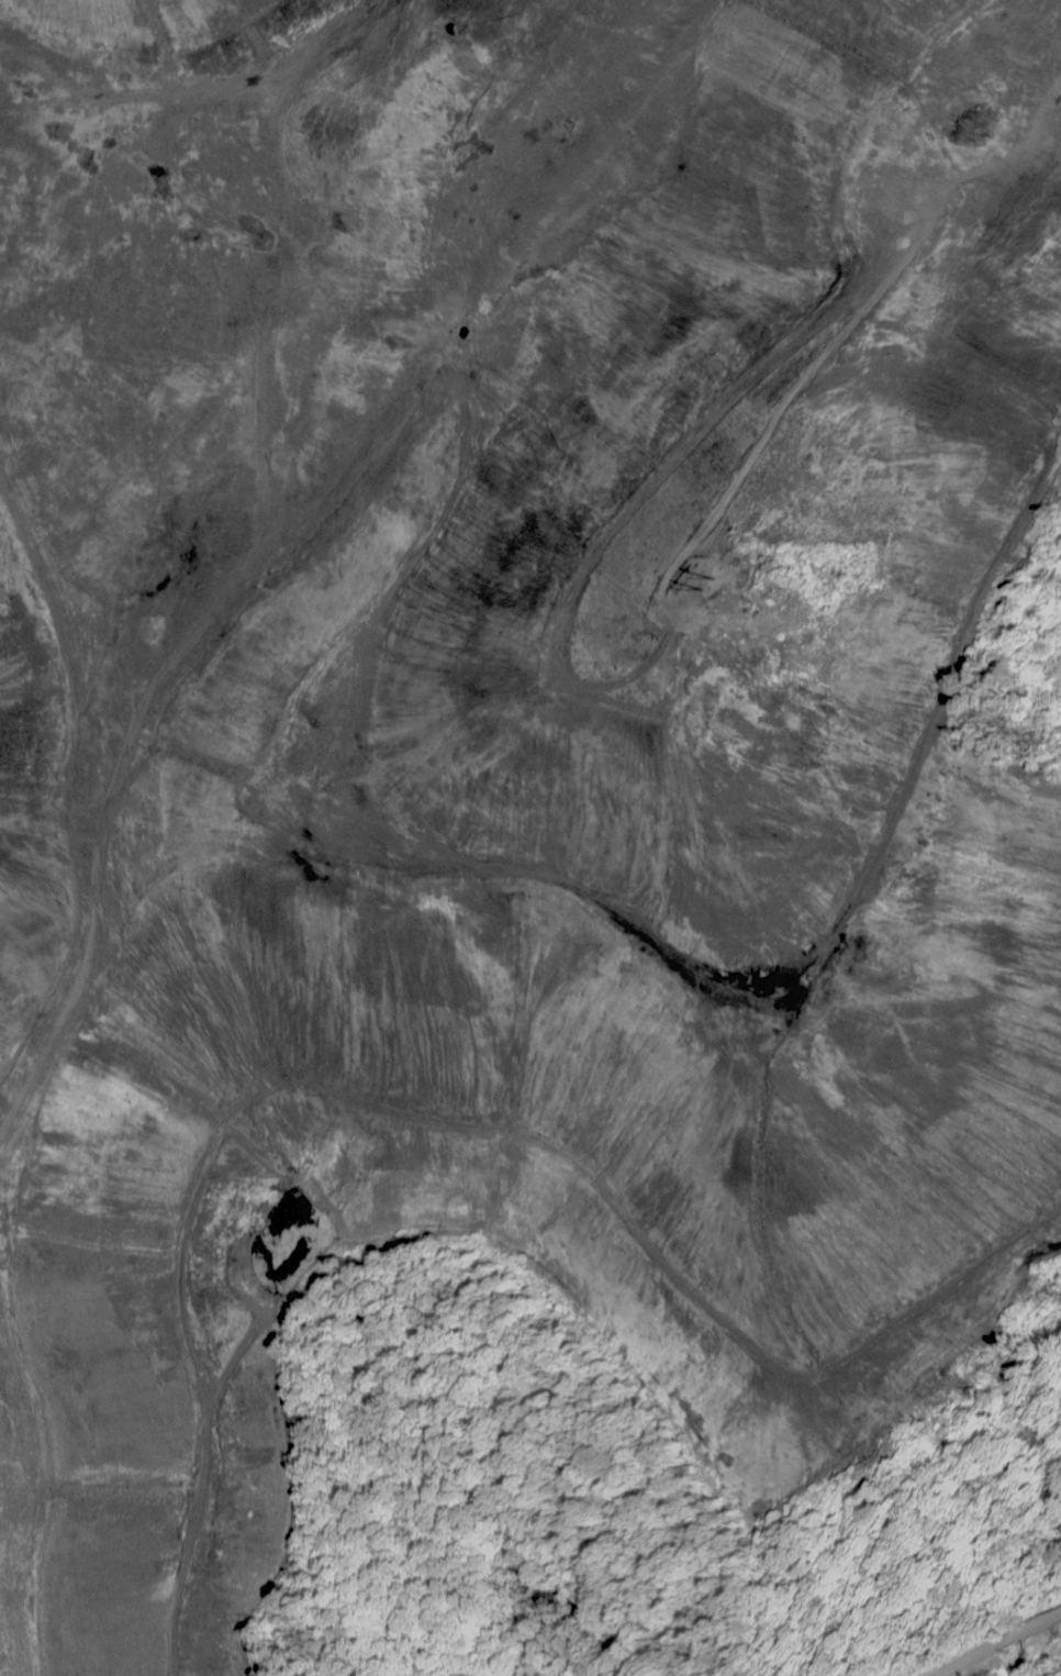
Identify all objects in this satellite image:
road: (999, 1641)

